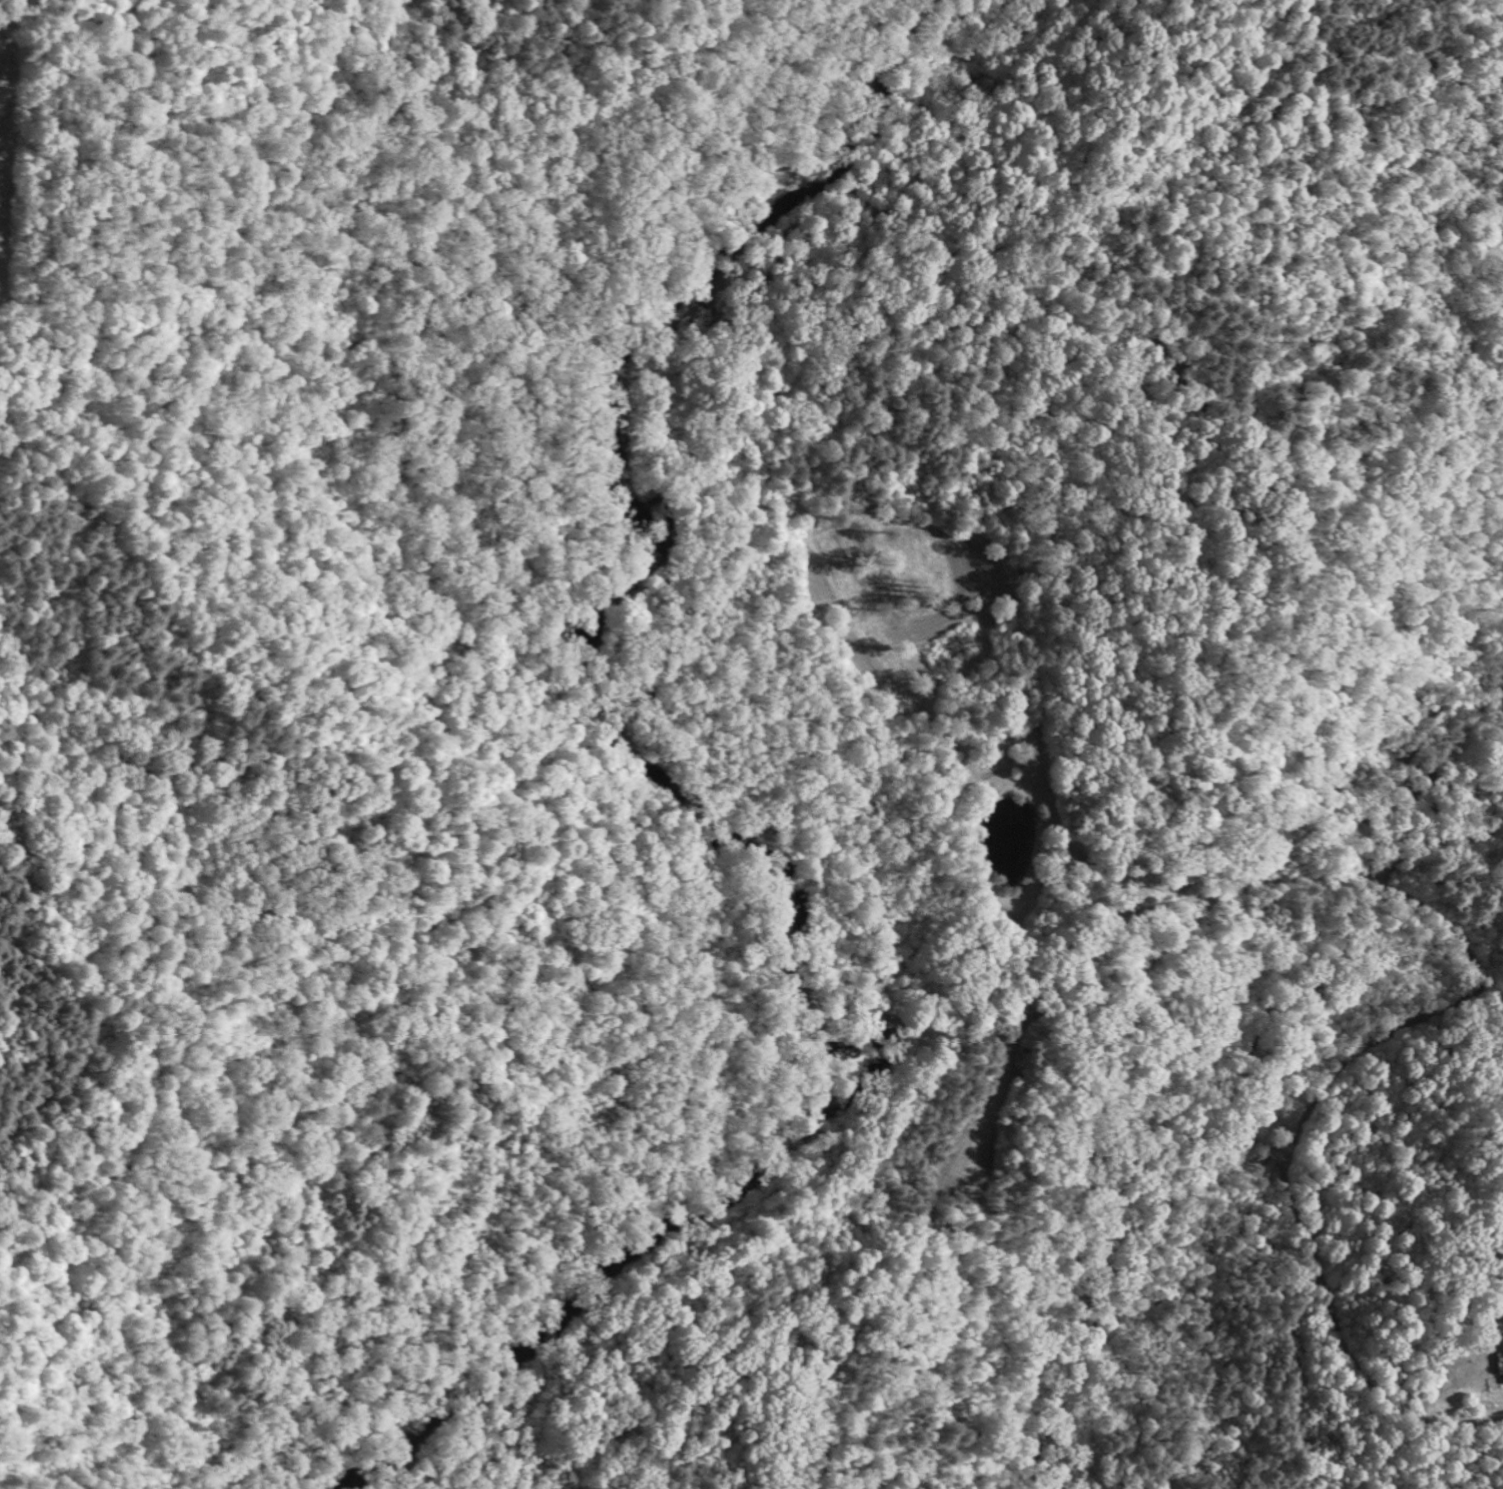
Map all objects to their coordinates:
building: (1501, 1361)

